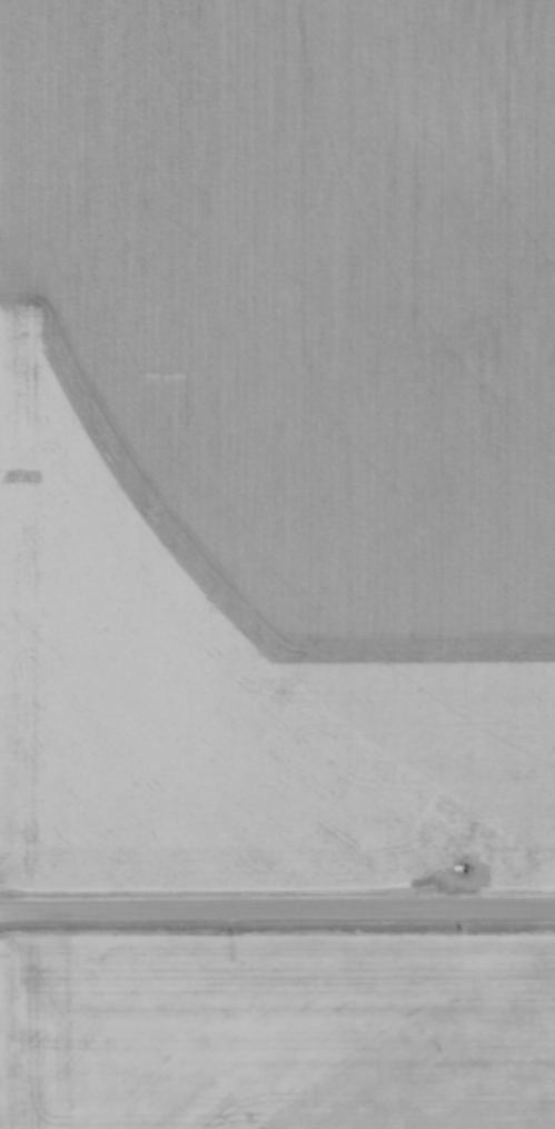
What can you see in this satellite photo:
road: (277, 911)

